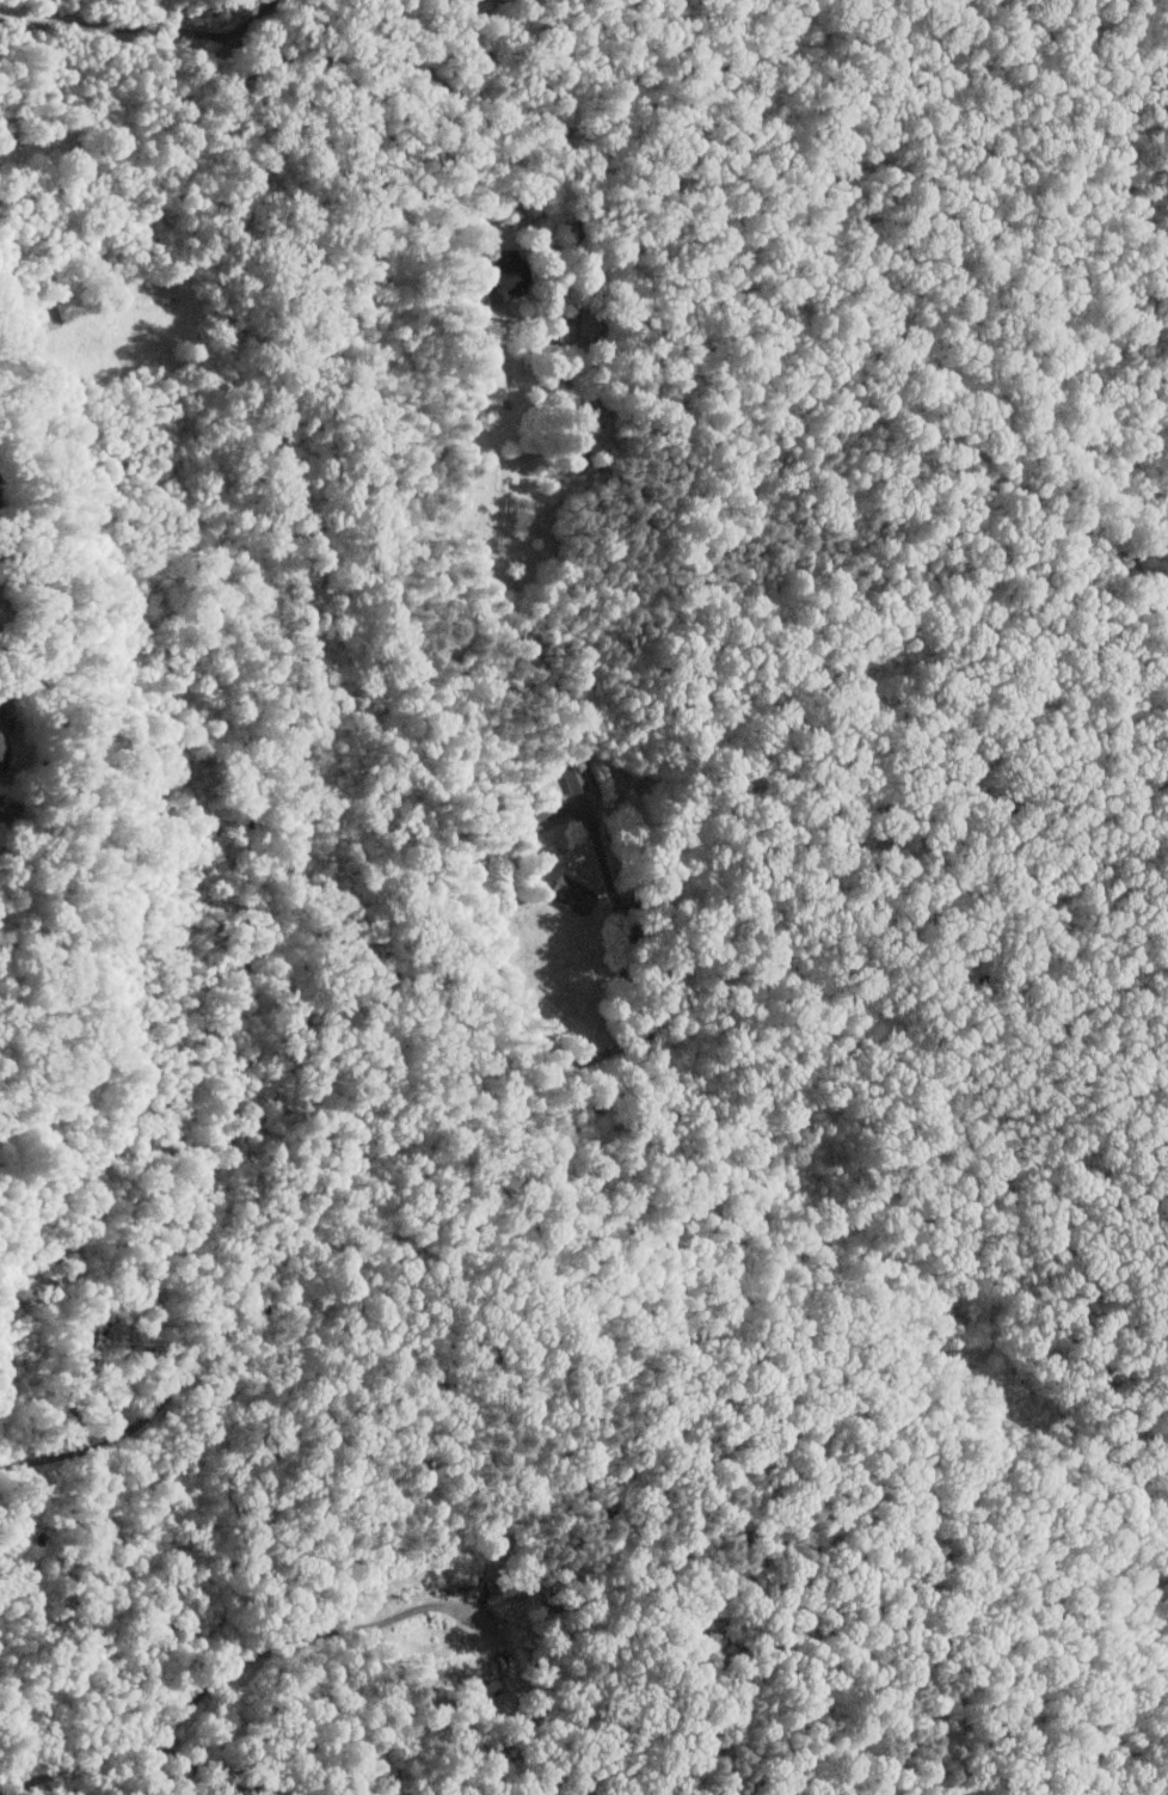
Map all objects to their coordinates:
road: (246, 25)
road: (105, 26)
road: (481, 97)
road: (1083, 128)
building: (498, 280)
building: (572, 779)
building: (539, 808)
building: (571, 893)
park: (794, 937)
road: (884, 991)
road: (1001, 1053)
road: (429, 1126)
road: (72, 1451)
road: (27, 1460)
road: (219, 1675)

